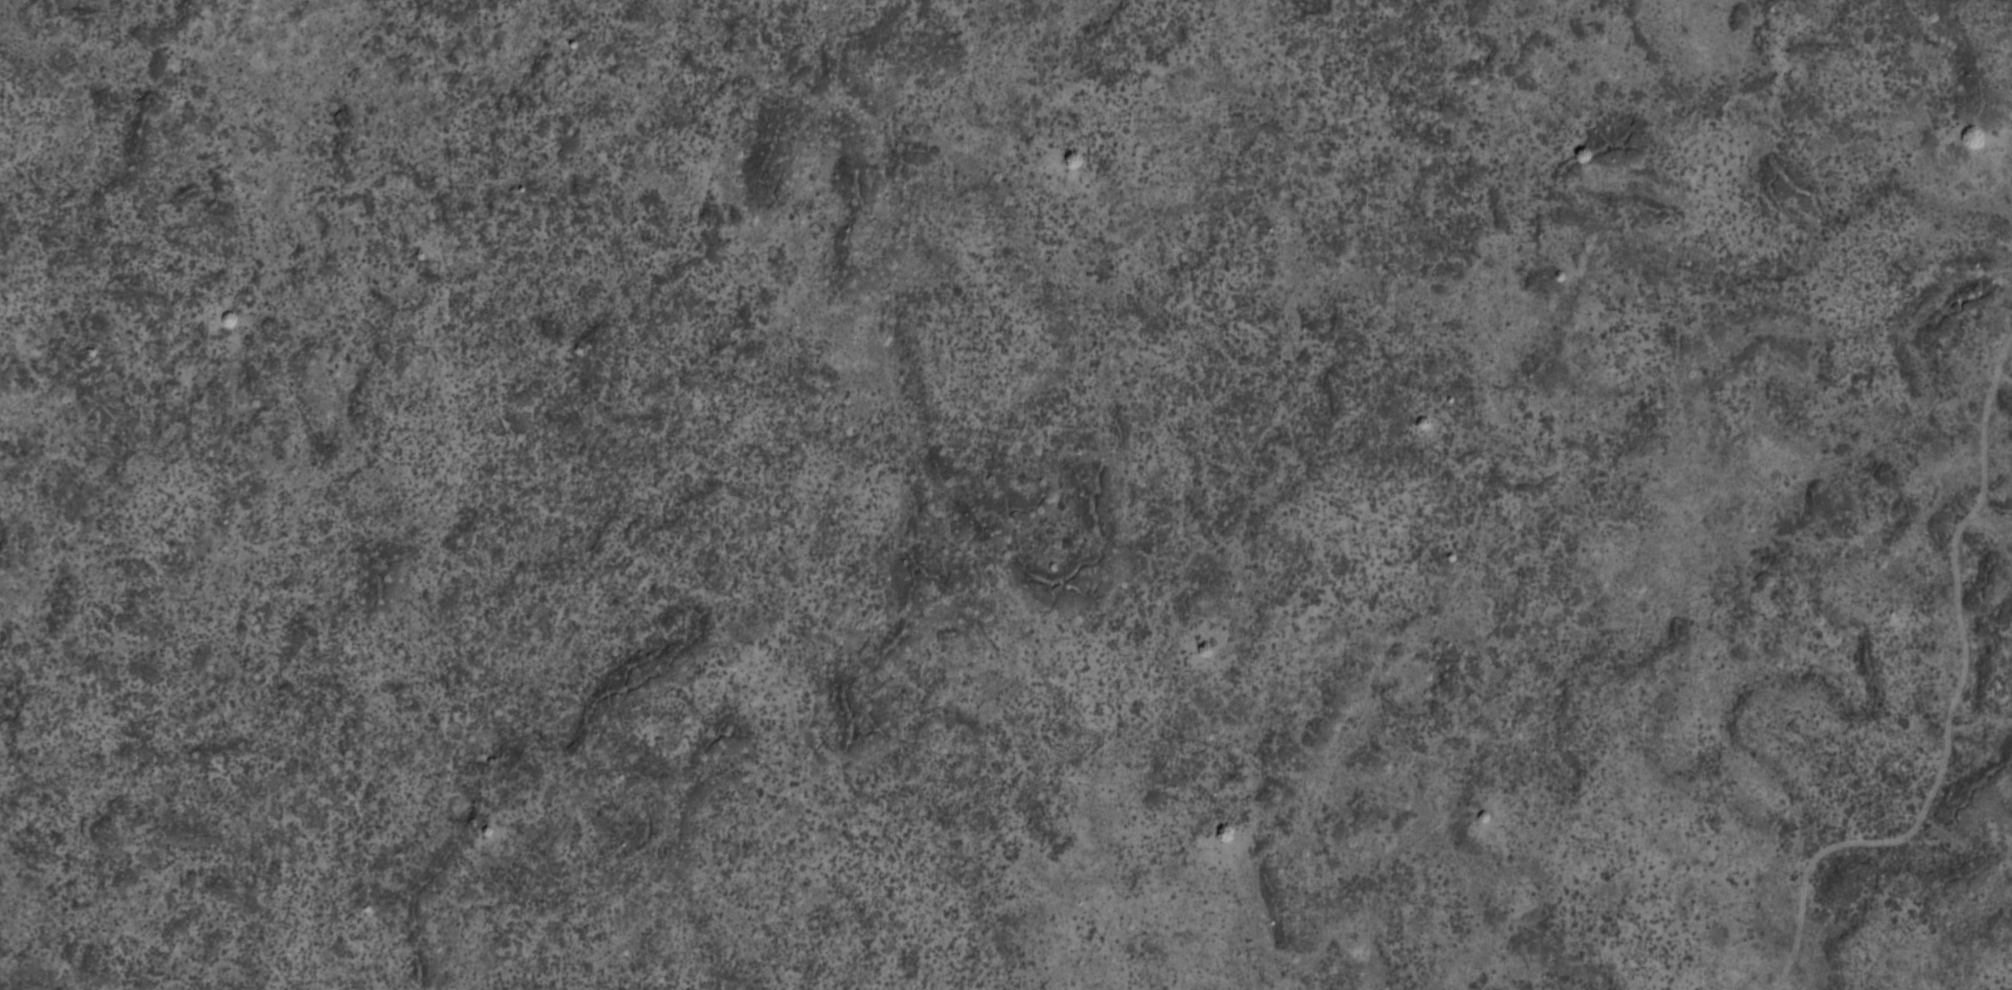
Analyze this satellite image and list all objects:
road: (1953, 701)

